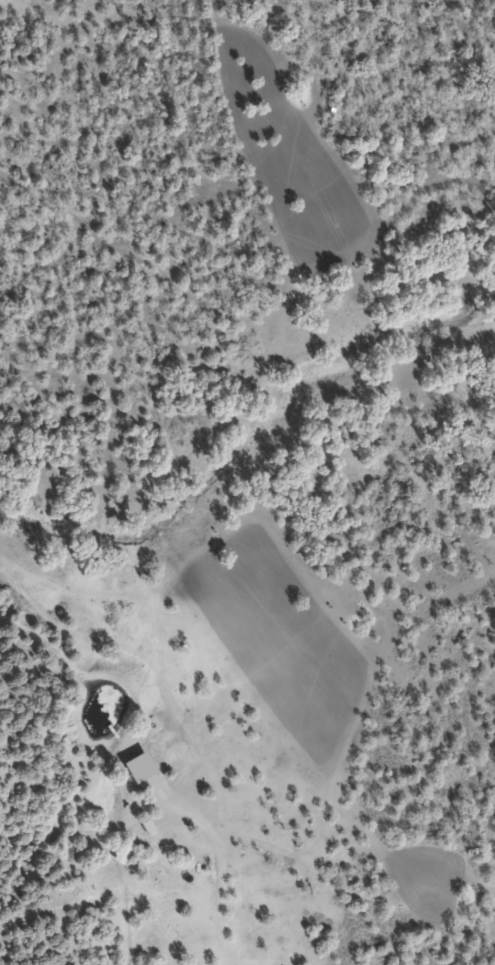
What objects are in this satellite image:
road: (186, 722)
building: (142, 768)

